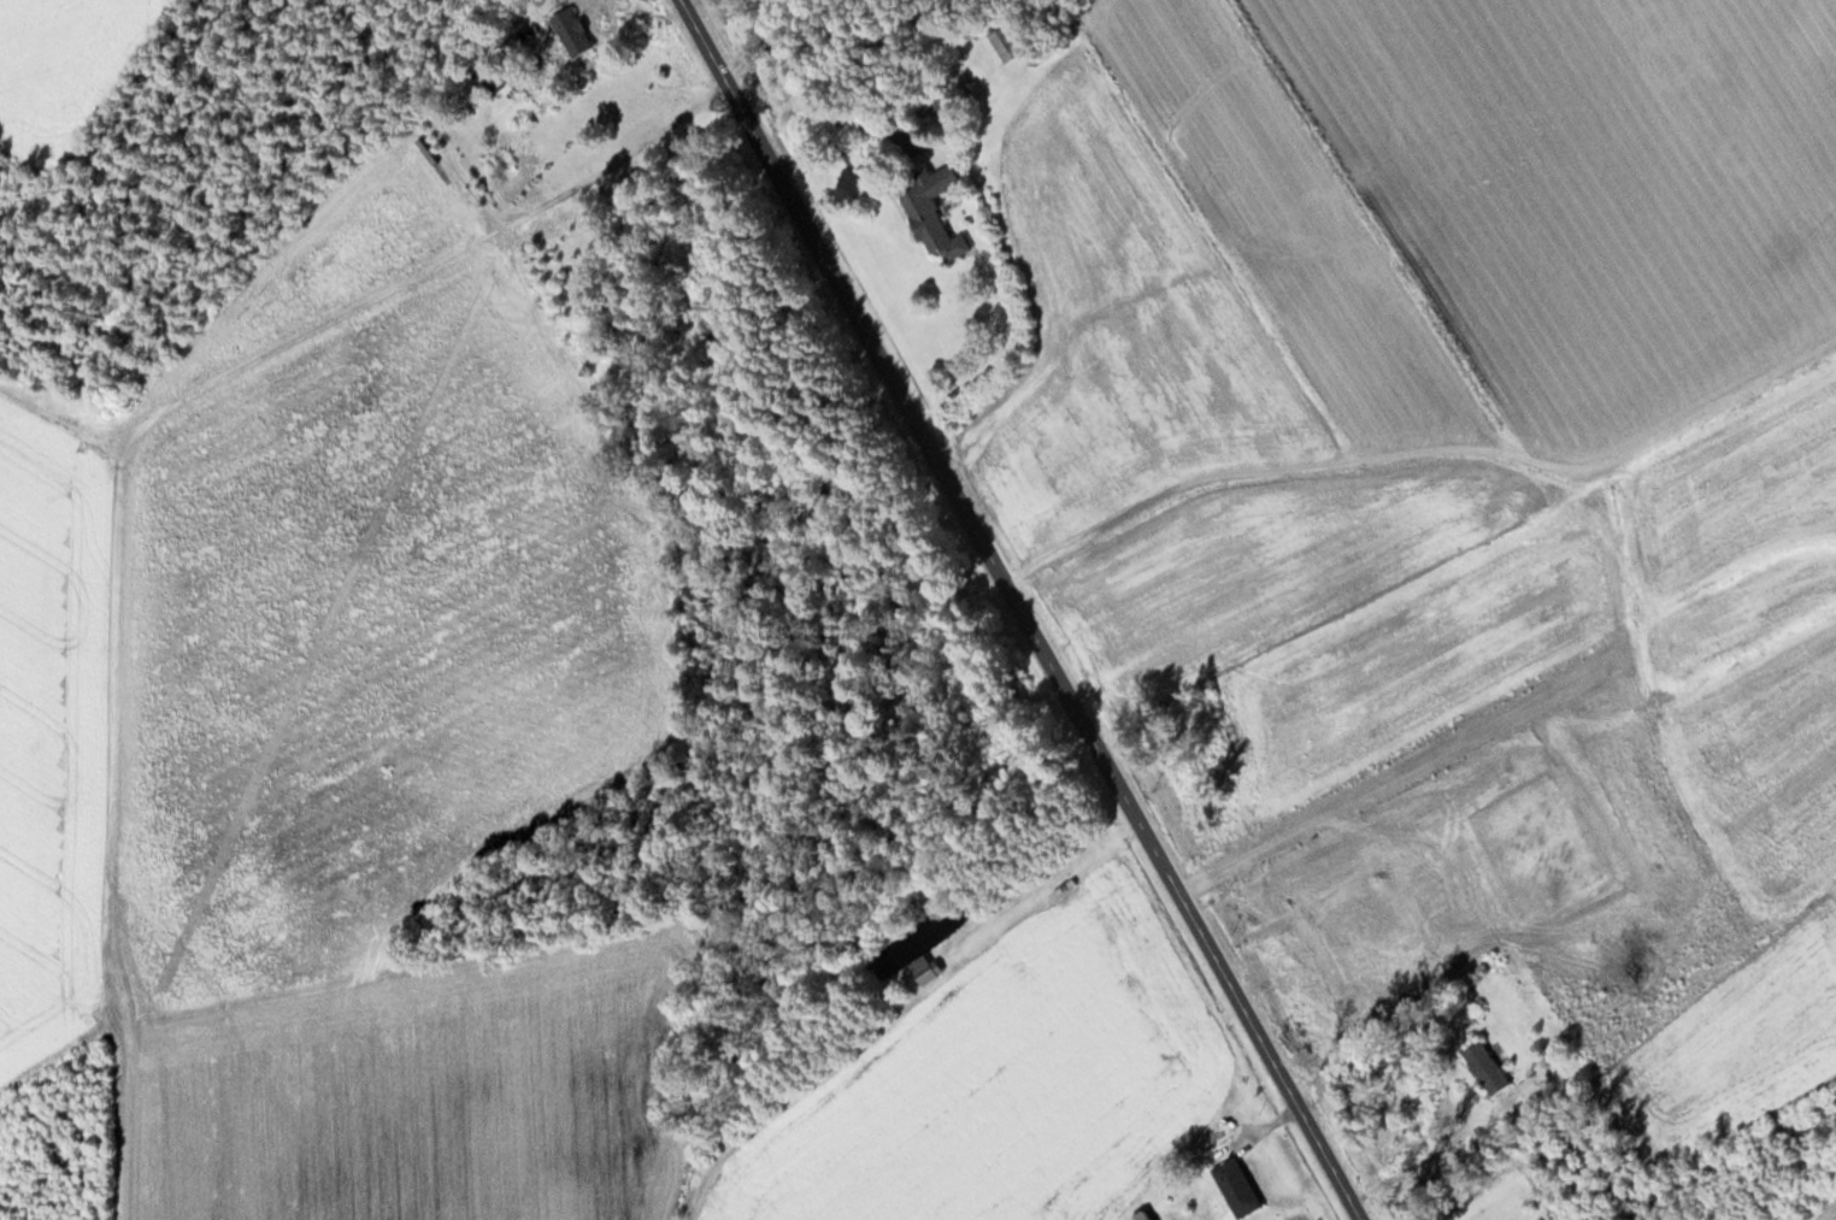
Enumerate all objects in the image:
building: (579, 33)
building: (994, 47)
building: (1350, 47)
road: (410, 125)
building: (929, 211)
road: (1019, 609)
building: (932, 967)
building: (1483, 1067)
building: (1234, 1187)

